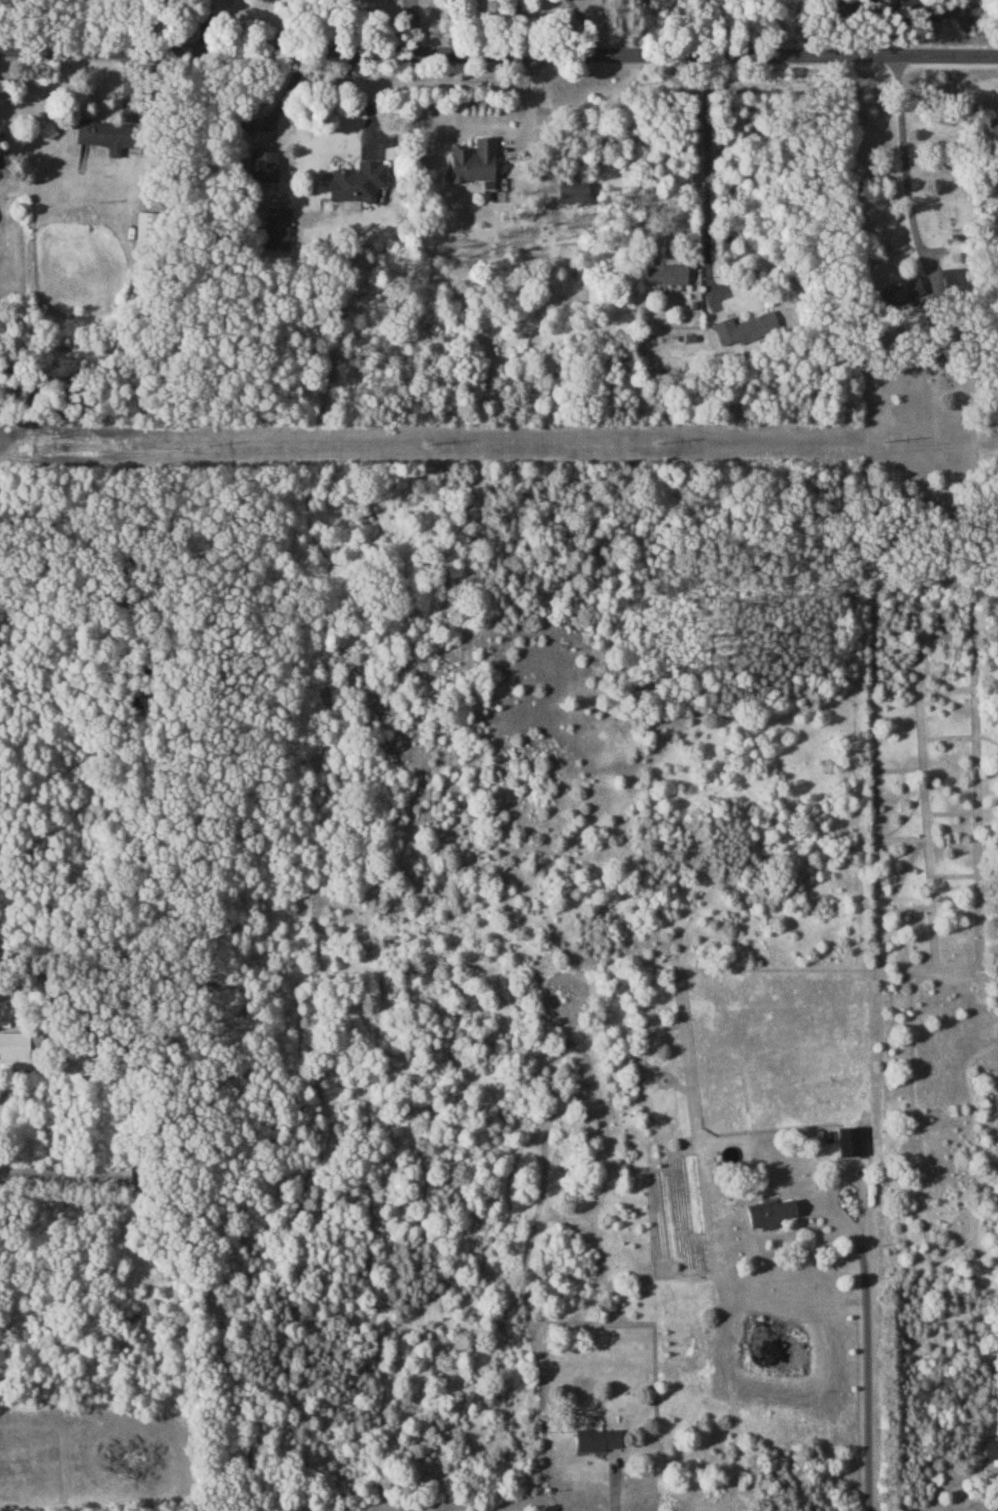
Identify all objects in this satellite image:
road: (584, 25)
road: (517, 27)
road: (788, 27)
road: (499, 53)
road: (362, 100)
building: (993, 126)
building: (103, 133)
building: (0, 155)
building: (474, 161)
building: (263, 165)
road: (905, 166)
road: (706, 173)
building: (358, 180)
building: (573, 192)
building: (277, 228)
building: (665, 273)
building: (901, 289)
building: (746, 327)
building: (20, 1049)
building: (852, 1140)
road: (842, 1179)
building: (770, 1212)
road: (866, 1372)
building: (598, 1439)
building: (990, 1448)
road: (613, 1497)

